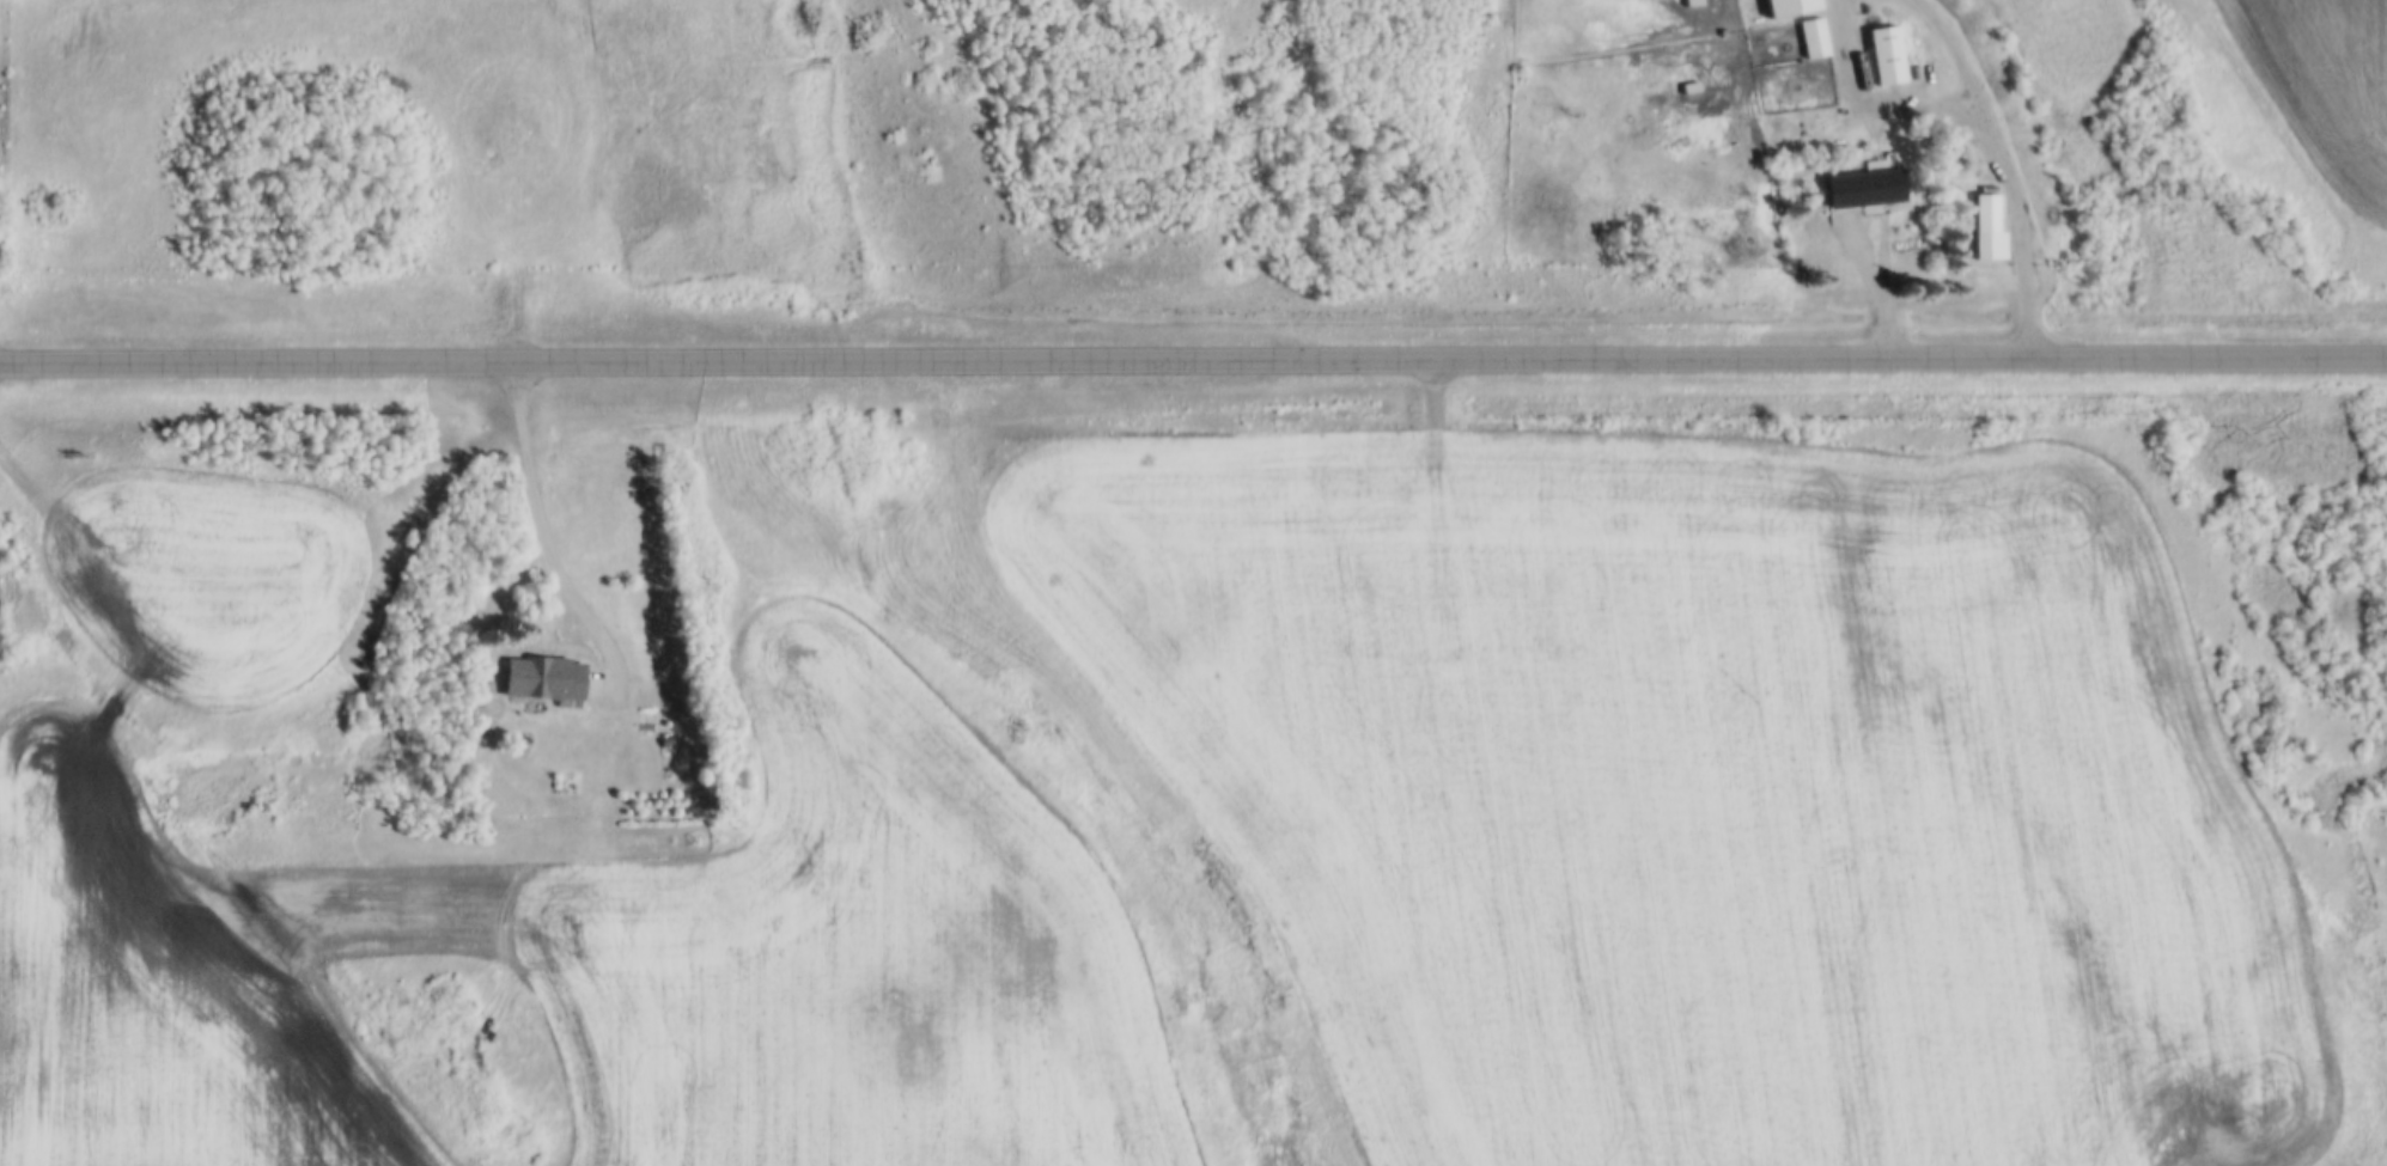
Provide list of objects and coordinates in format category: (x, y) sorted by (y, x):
building: (1786, 5)
building: (1813, 35)
building: (1884, 51)
building: (1914, 67)
building: (1938, 77)
building: (1955, 145)
silo: (1955, 145)
building: (1960, 160)
silo: (1960, 160)
road: (2003, 161)
building: (1862, 183)
building: (1986, 222)
road: (1876, 280)
road: (1193, 360)
road: (554, 548)
building: (543, 672)

